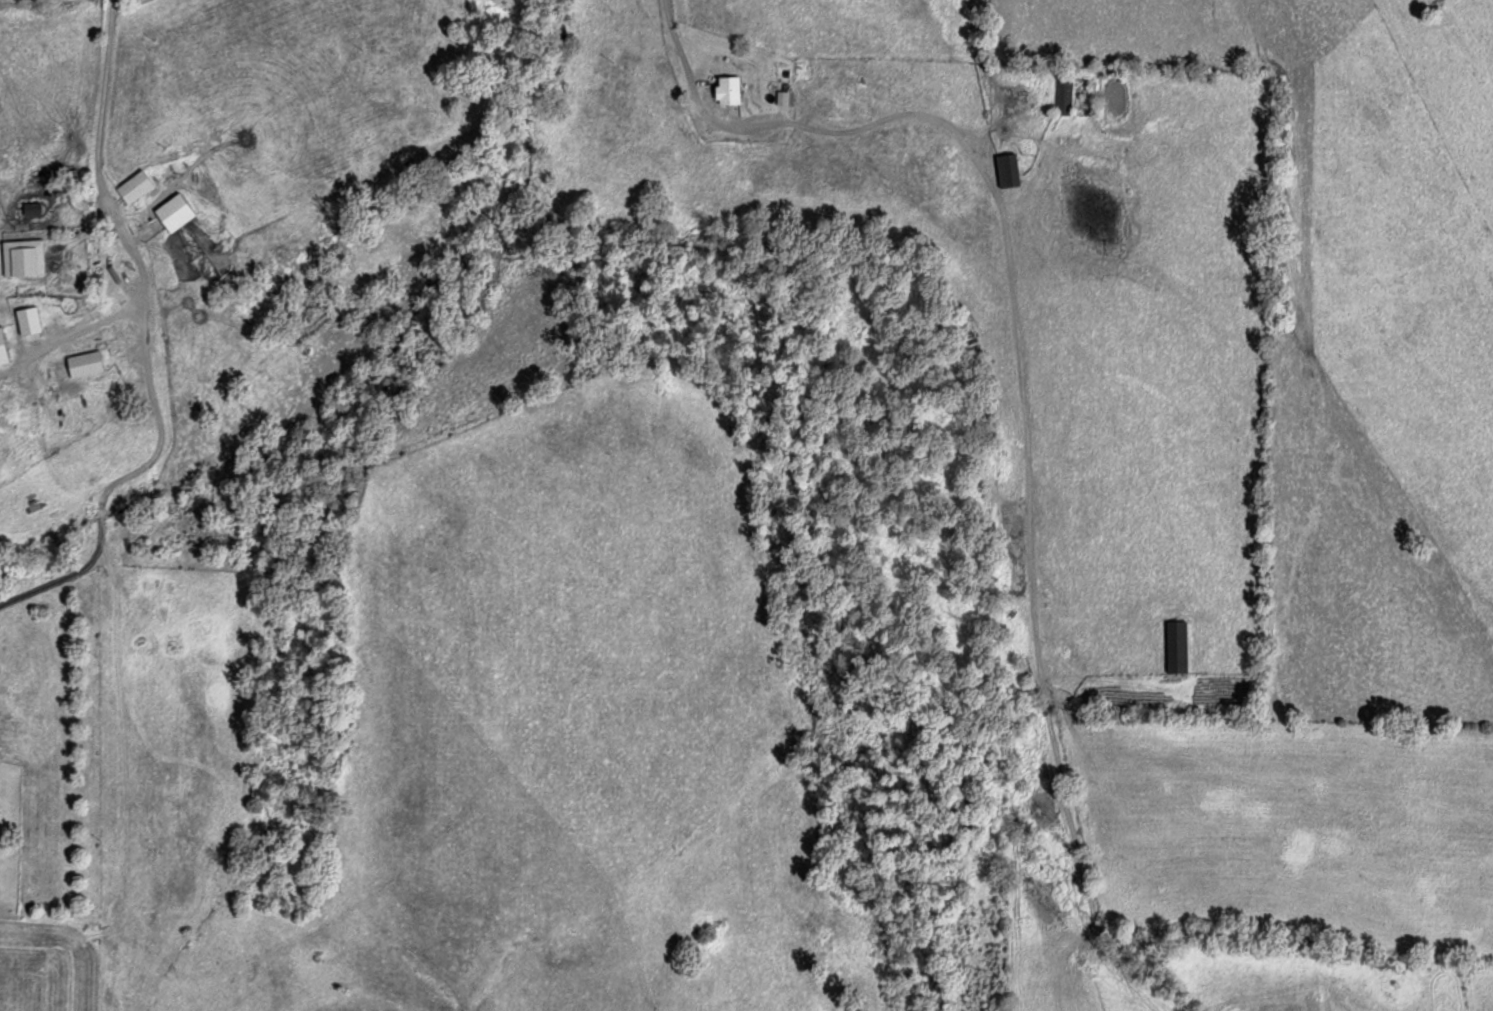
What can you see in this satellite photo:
building: (734, 89)
building: (1014, 169)
building: (139, 186)
building: (35, 208)
building: (27, 257)
road: (1013, 329)
road: (147, 336)
building: (91, 363)
building: (1173, 646)

